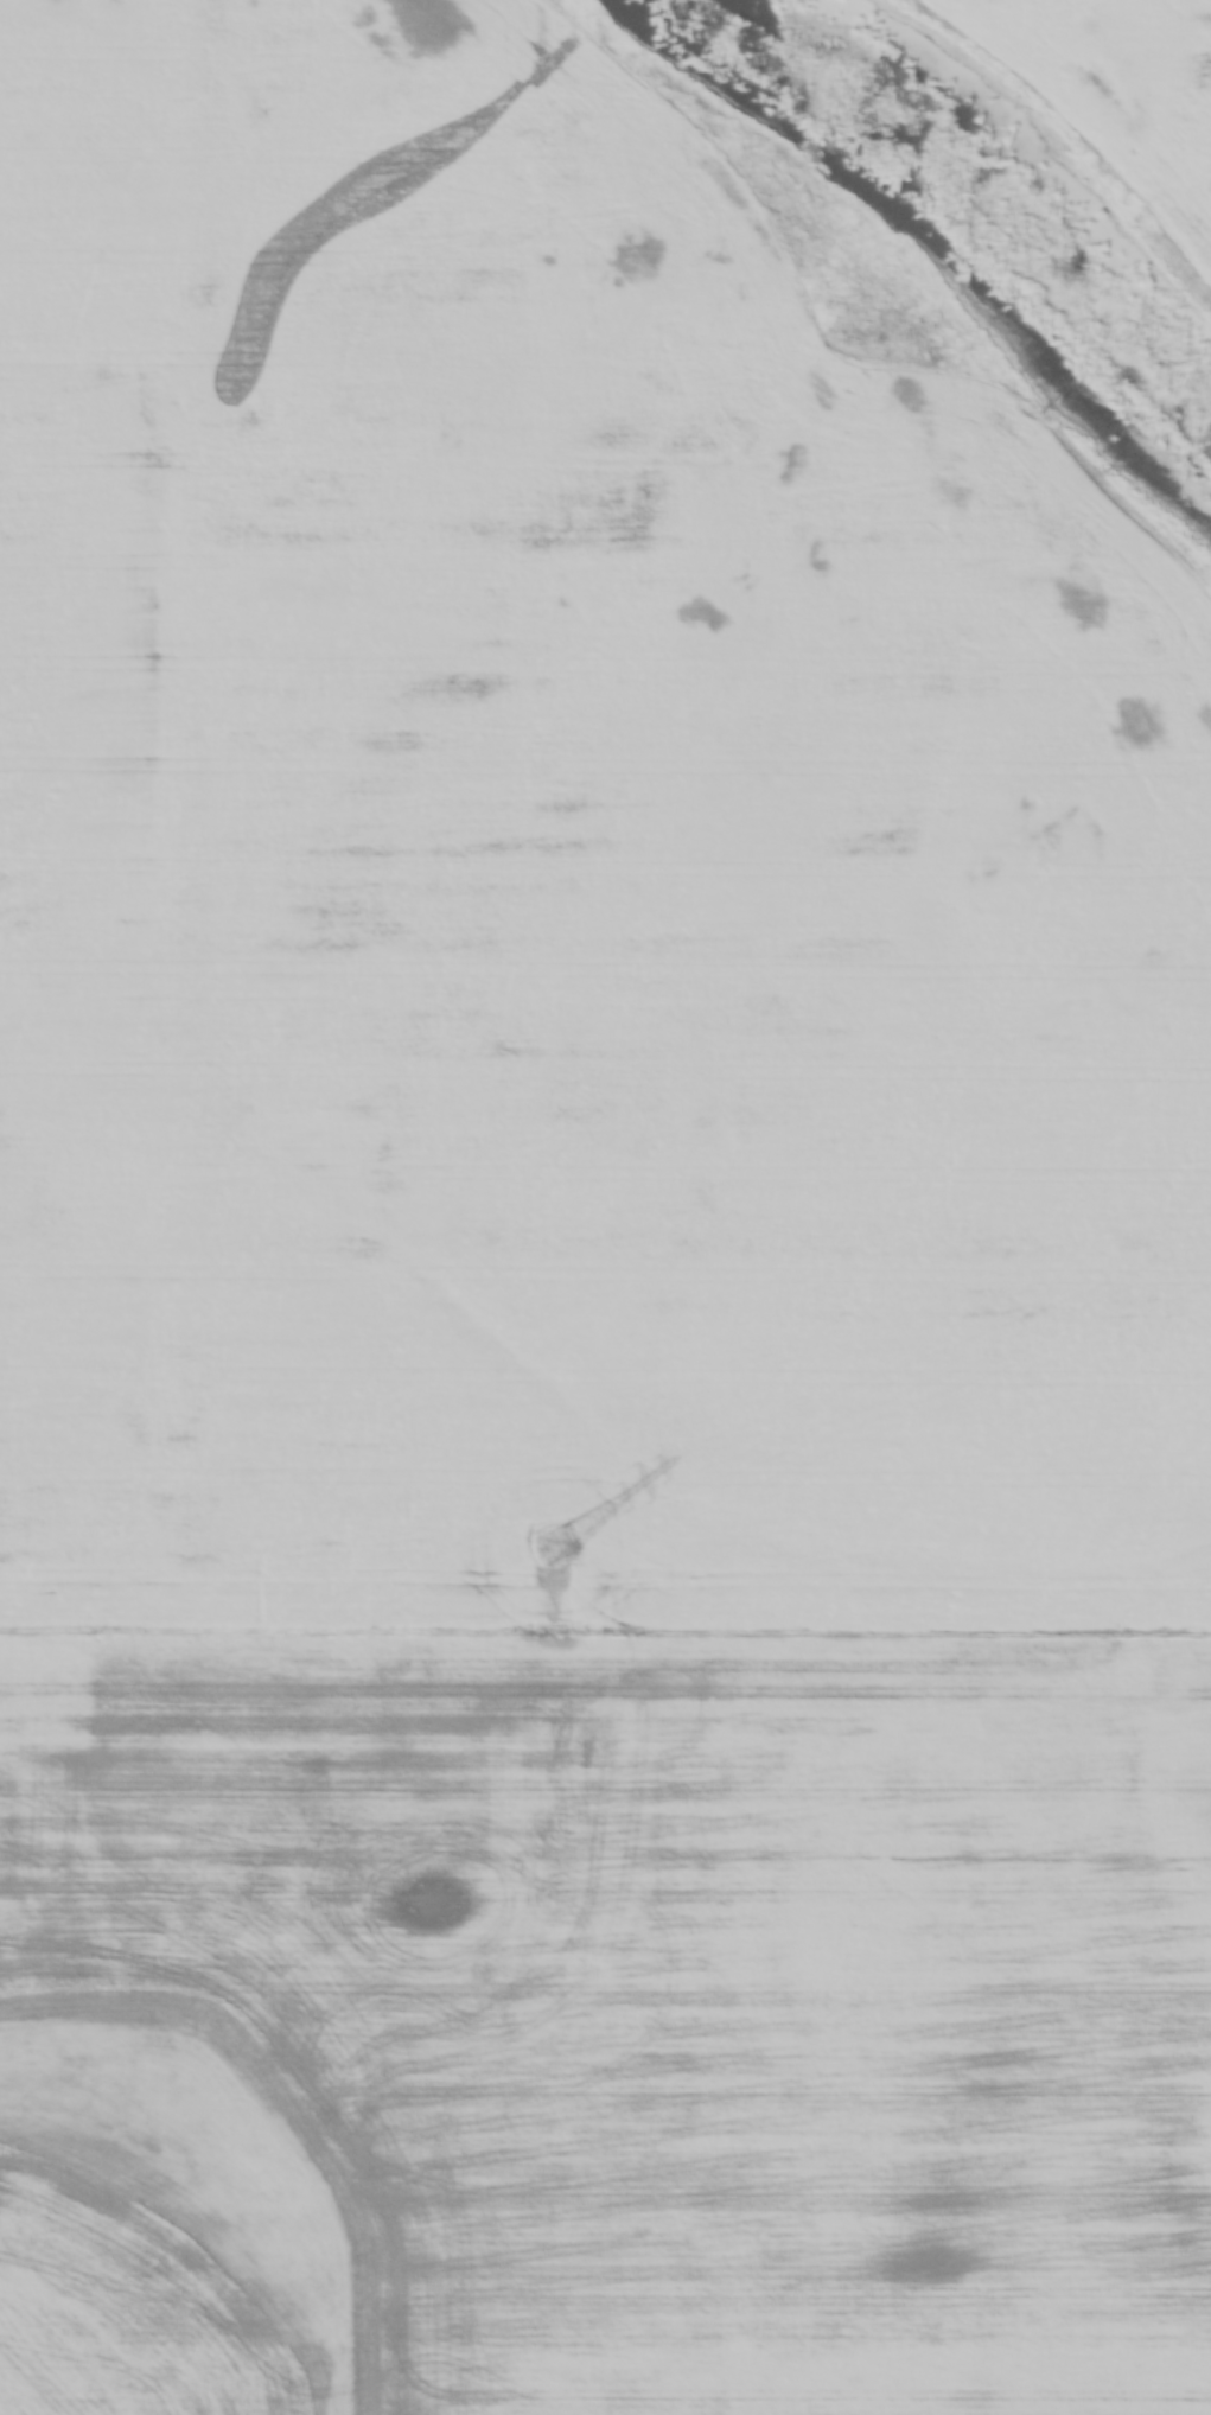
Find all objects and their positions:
power tower: (549, 1548)

